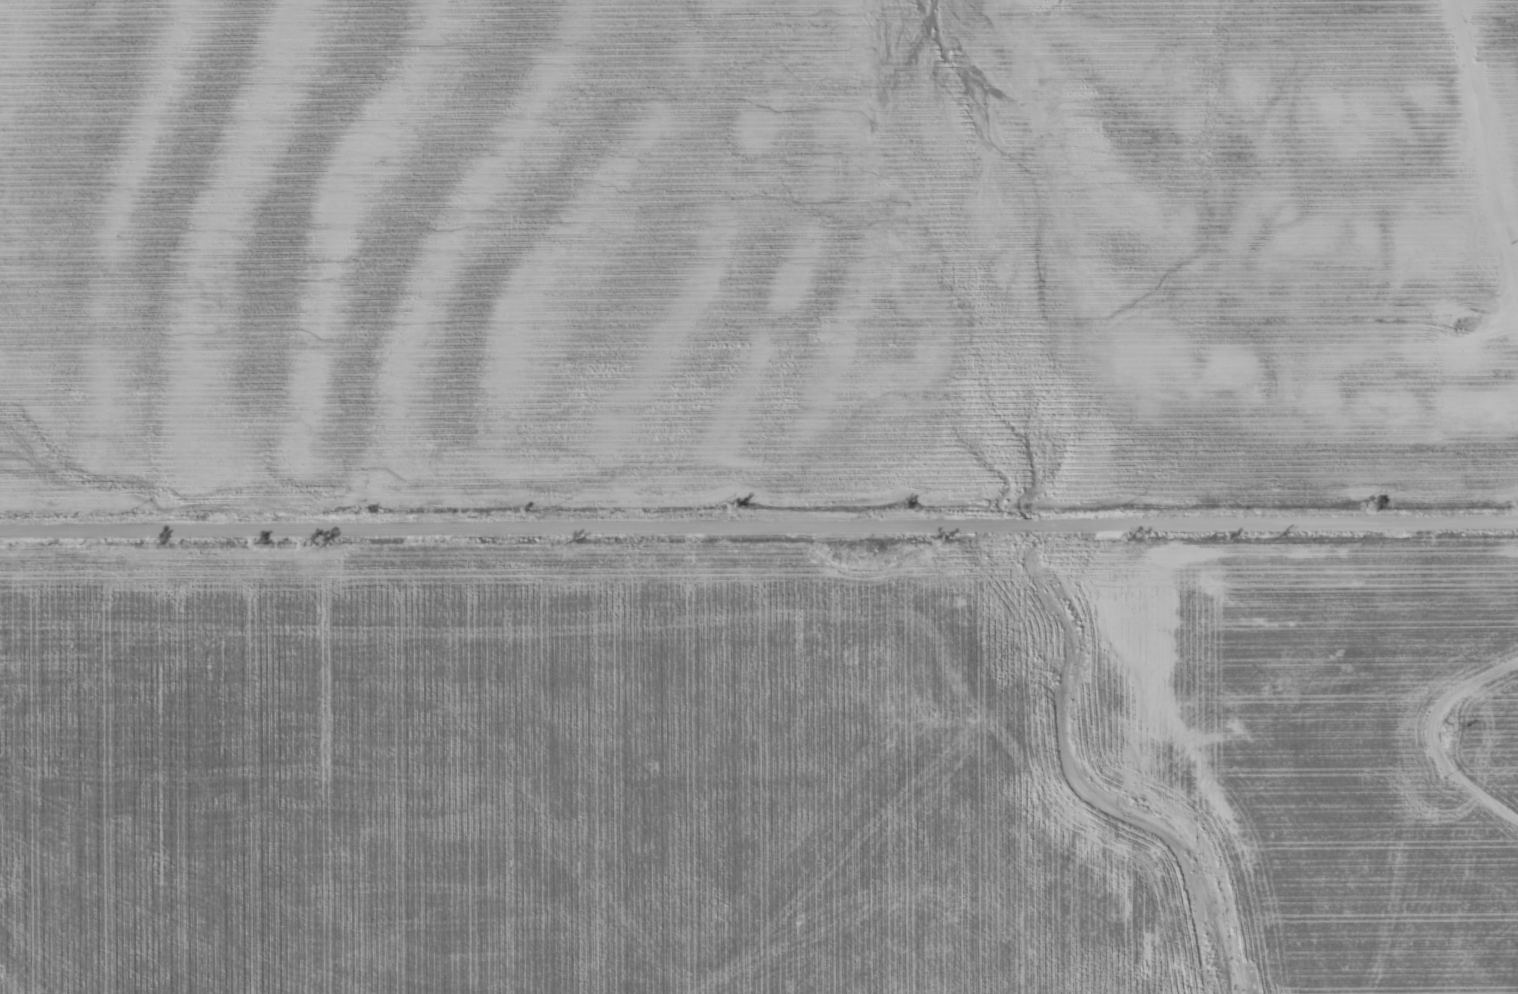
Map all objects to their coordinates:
road: (1491, 90)
road: (1241, 332)
road: (759, 510)
road: (1450, 722)

